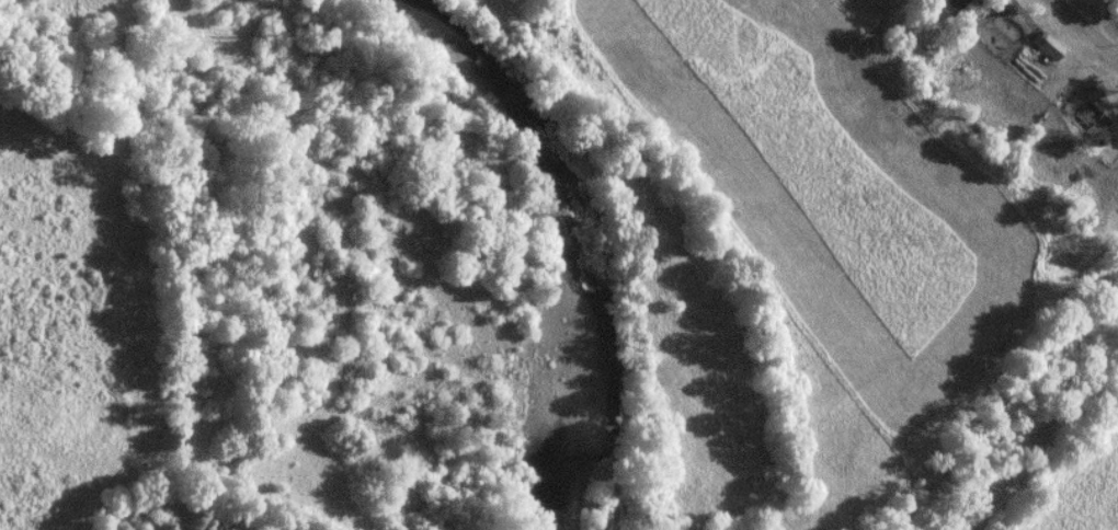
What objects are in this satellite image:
road: (1083, 31)
building: (1046, 45)
building: (1082, 113)

